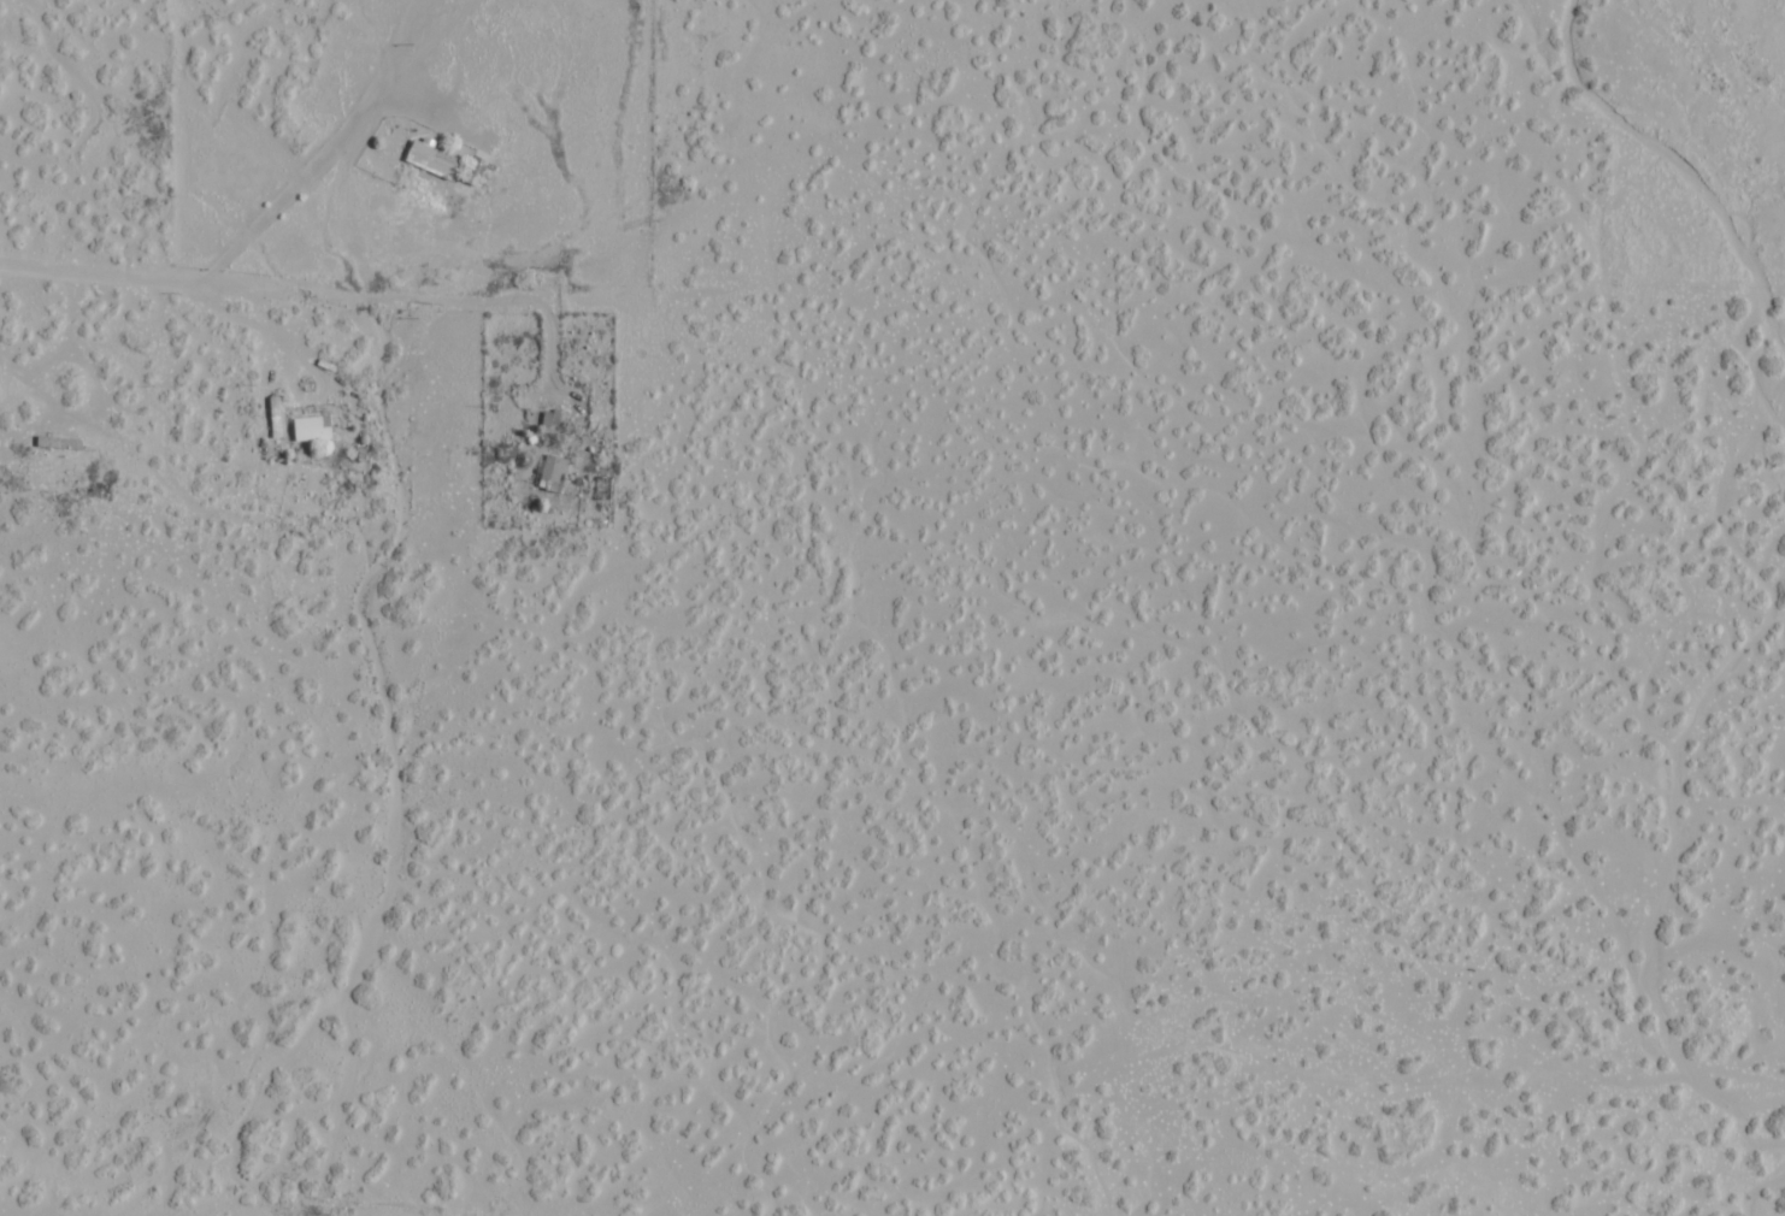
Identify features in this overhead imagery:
road: (335, 152)
building: (434, 158)
road: (271, 283)
building: (314, 427)

